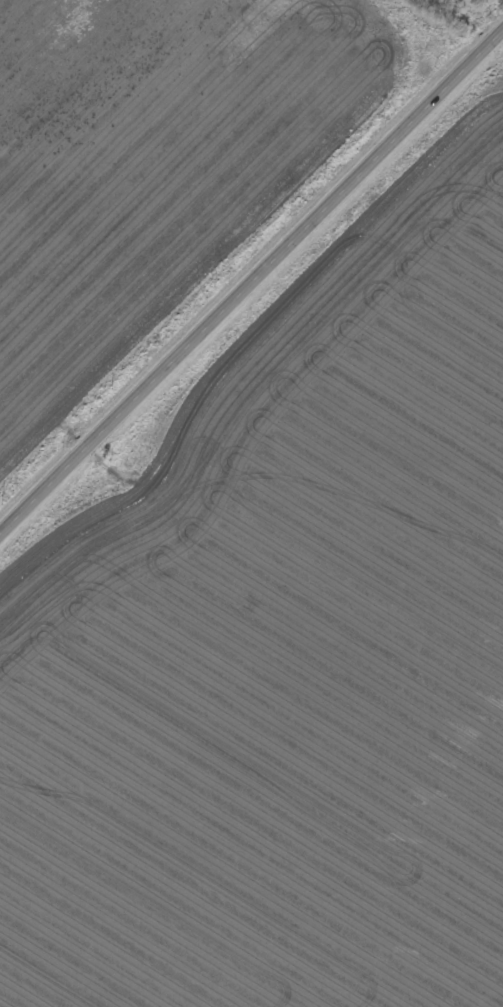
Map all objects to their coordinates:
crop: (164, 171)
road: (251, 280)

